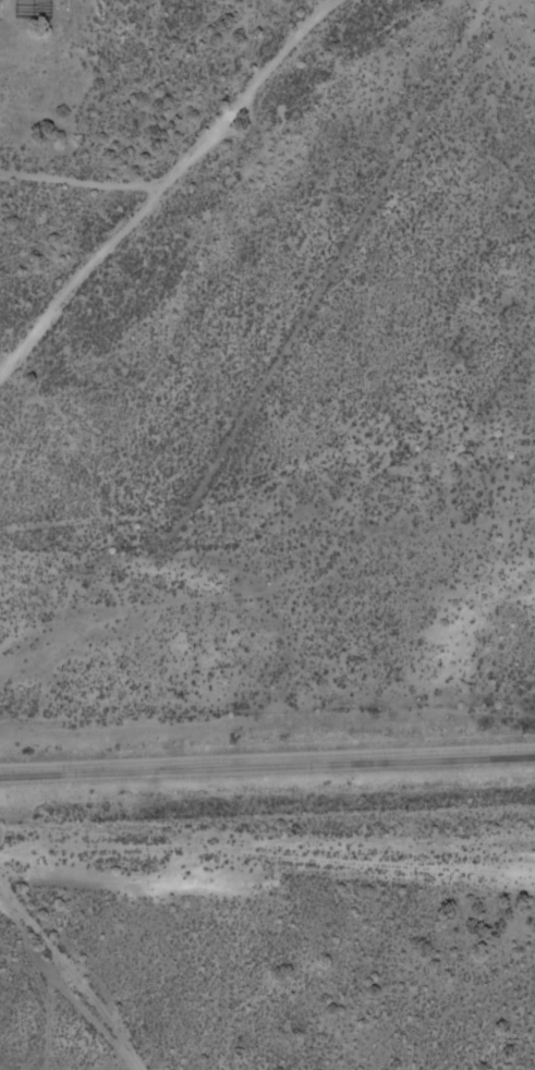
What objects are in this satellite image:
road: (165, 180)
road: (81, 183)
road: (267, 756)
road: (61, 989)

